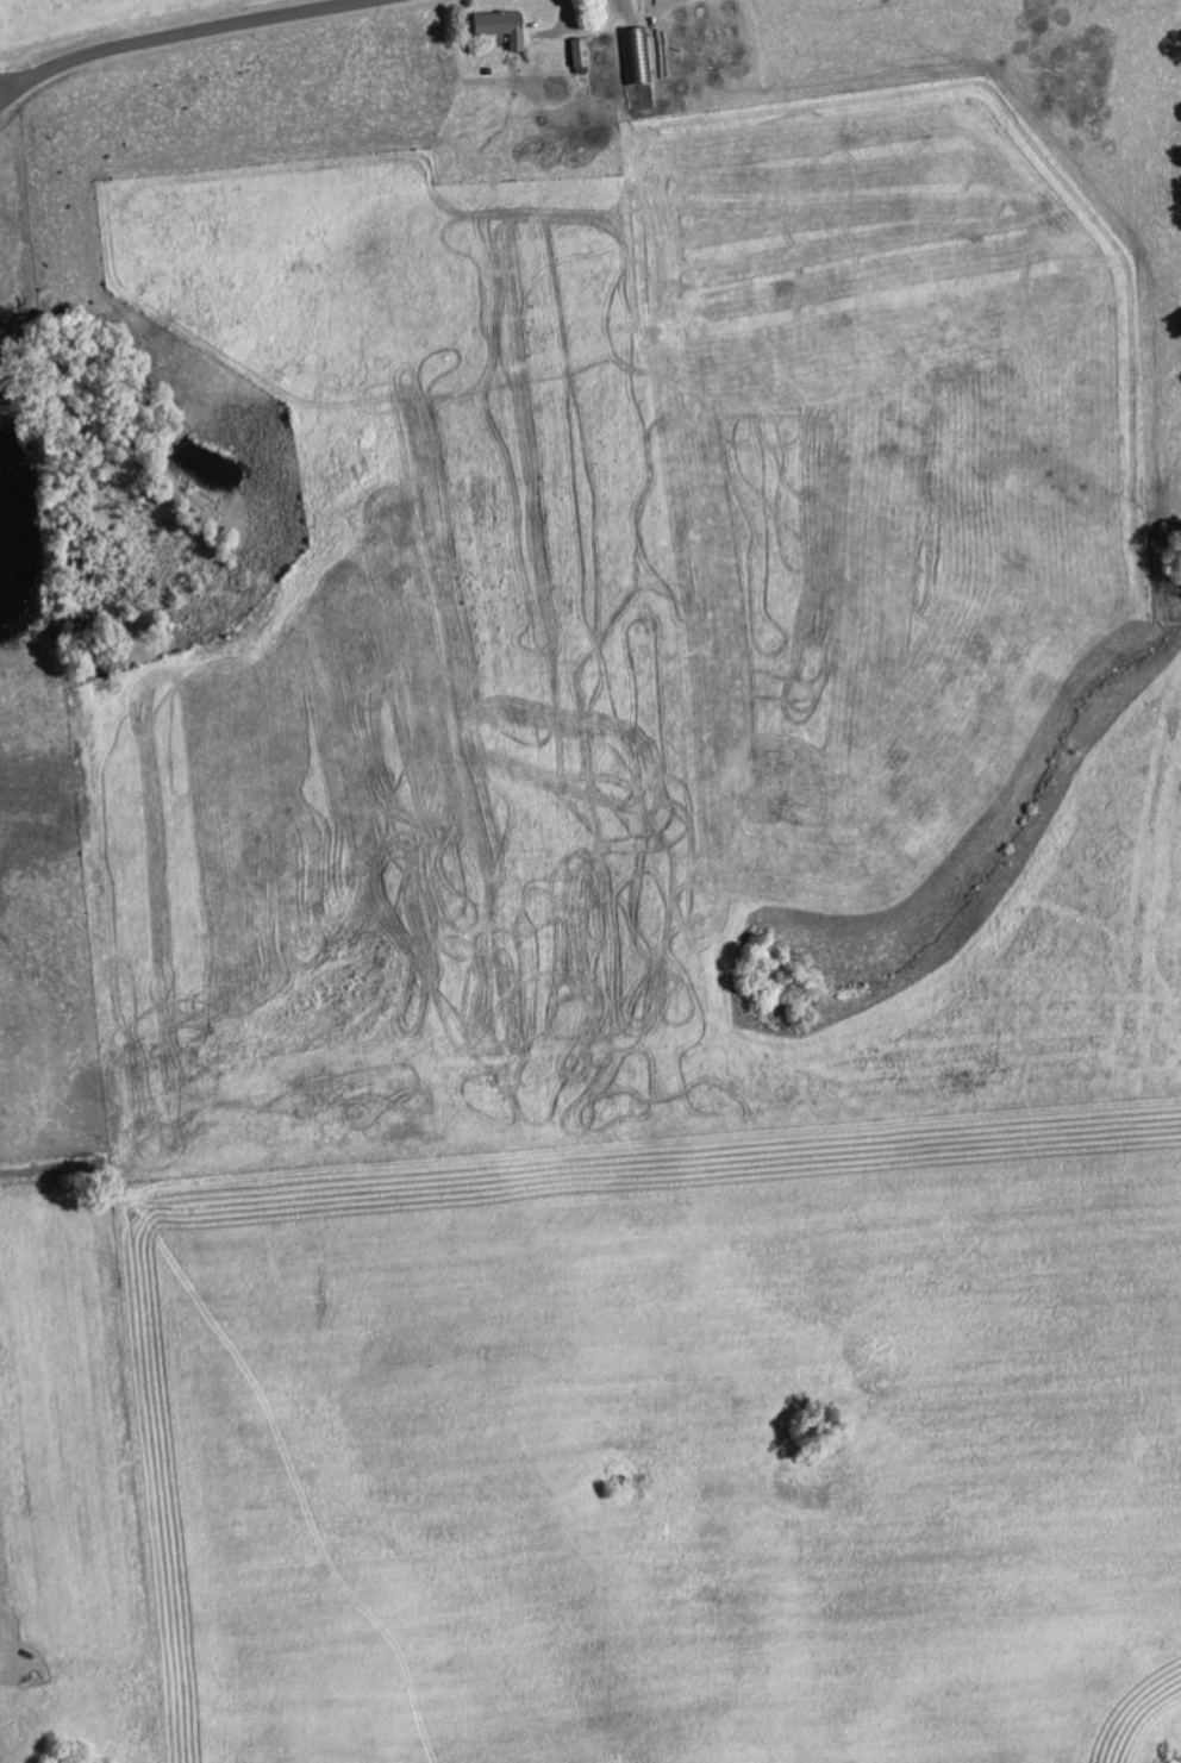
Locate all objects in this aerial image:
building: (502, 25)
road: (173, 33)
building: (581, 55)
building: (638, 55)
road: (11, 80)

